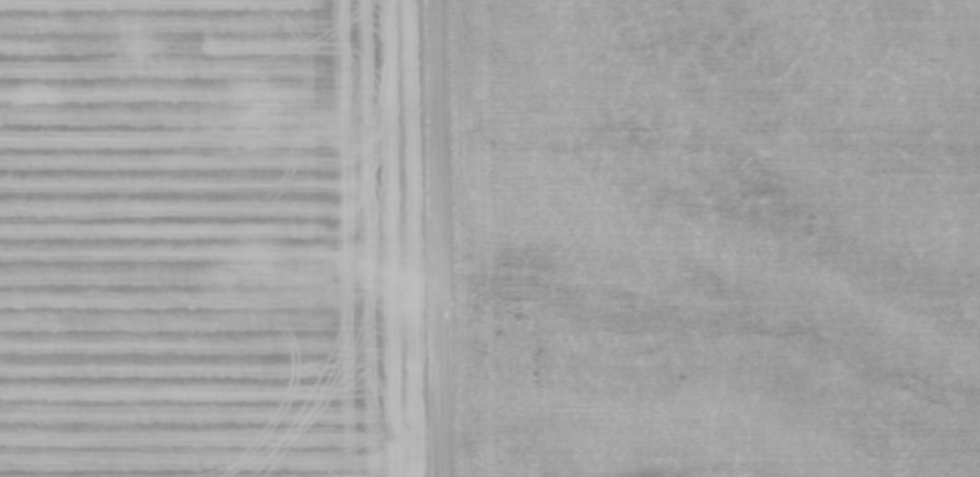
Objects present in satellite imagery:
crop: (715, 237)
road: (436, 238)
crop: (212, 239)

